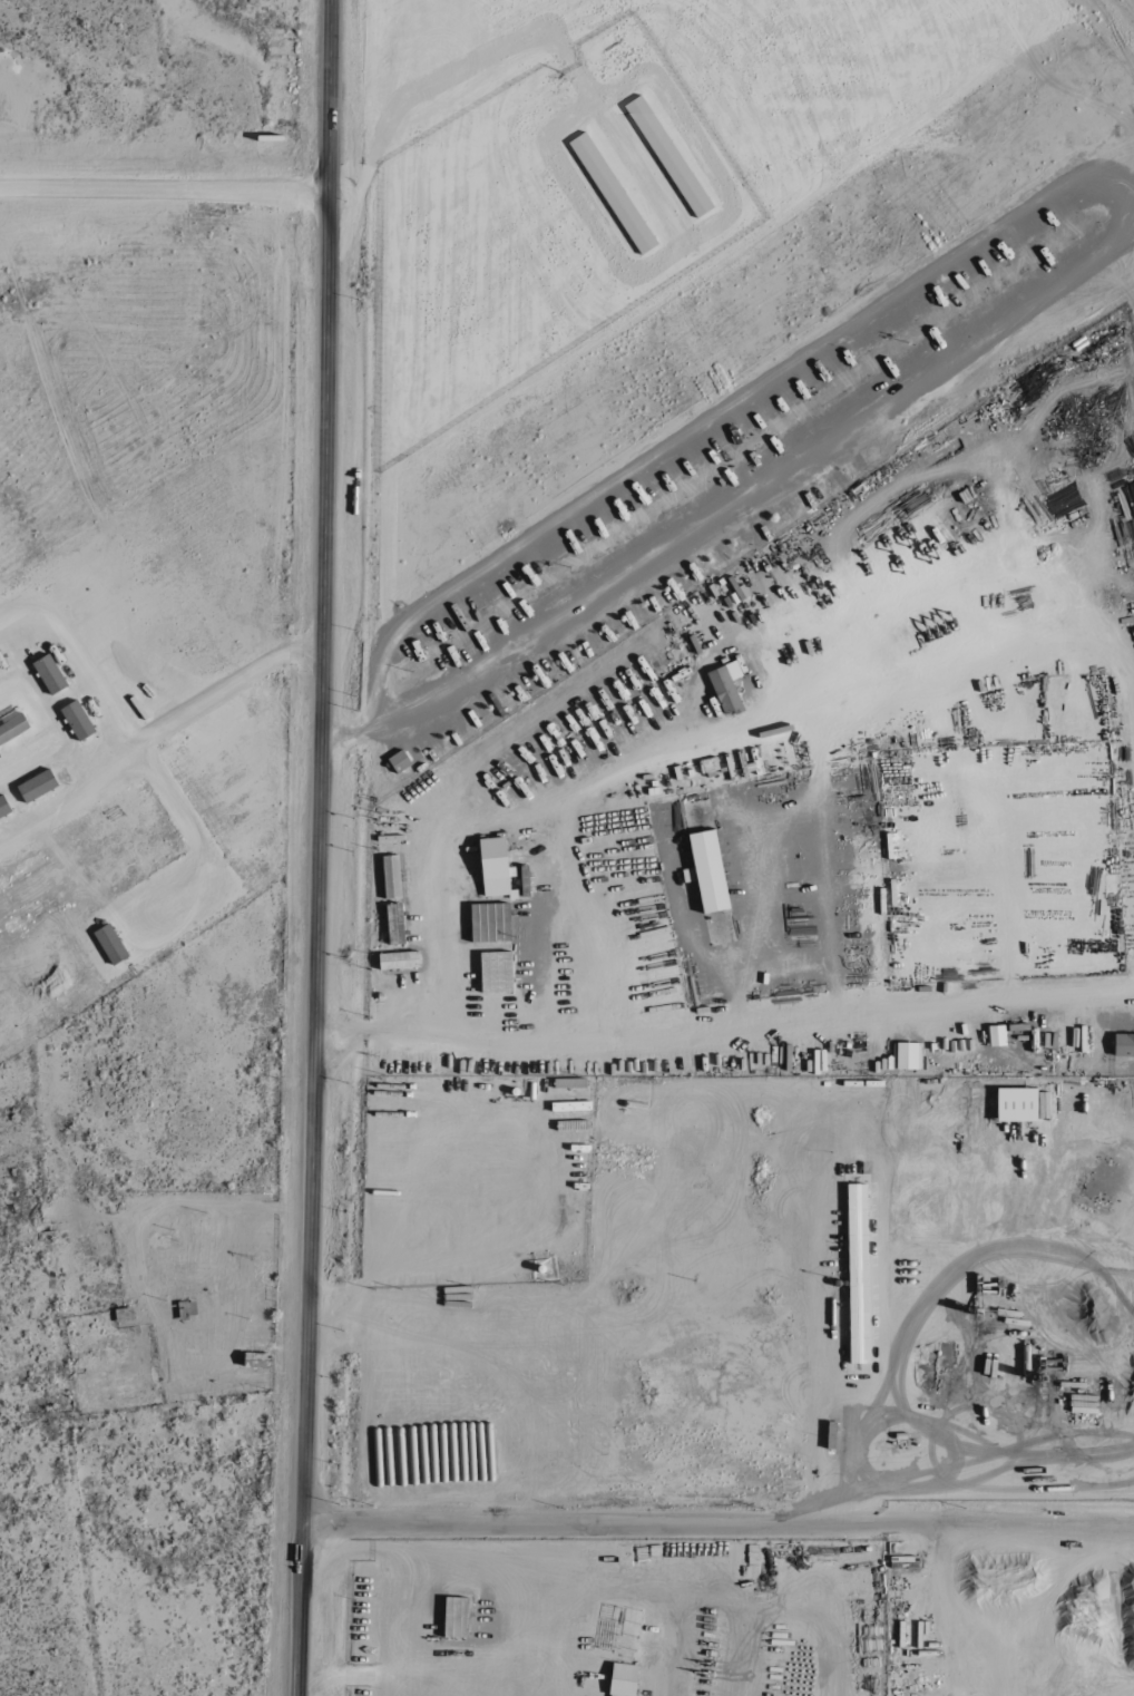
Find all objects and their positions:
building: (667, 157)
road: (164, 192)
building: (612, 194)
road: (1121, 206)
building: (48, 674)
building: (724, 688)
building: (75, 720)
building: (11, 728)
building: (36, 787)
building: (3, 807)
road: (317, 848)
building: (705, 873)
building: (109, 944)
building: (397, 961)
road: (720, 1032)
building: (906, 1056)
building: (854, 1221)
building: (185, 1309)
road: (715, 1526)
building: (620, 1680)

